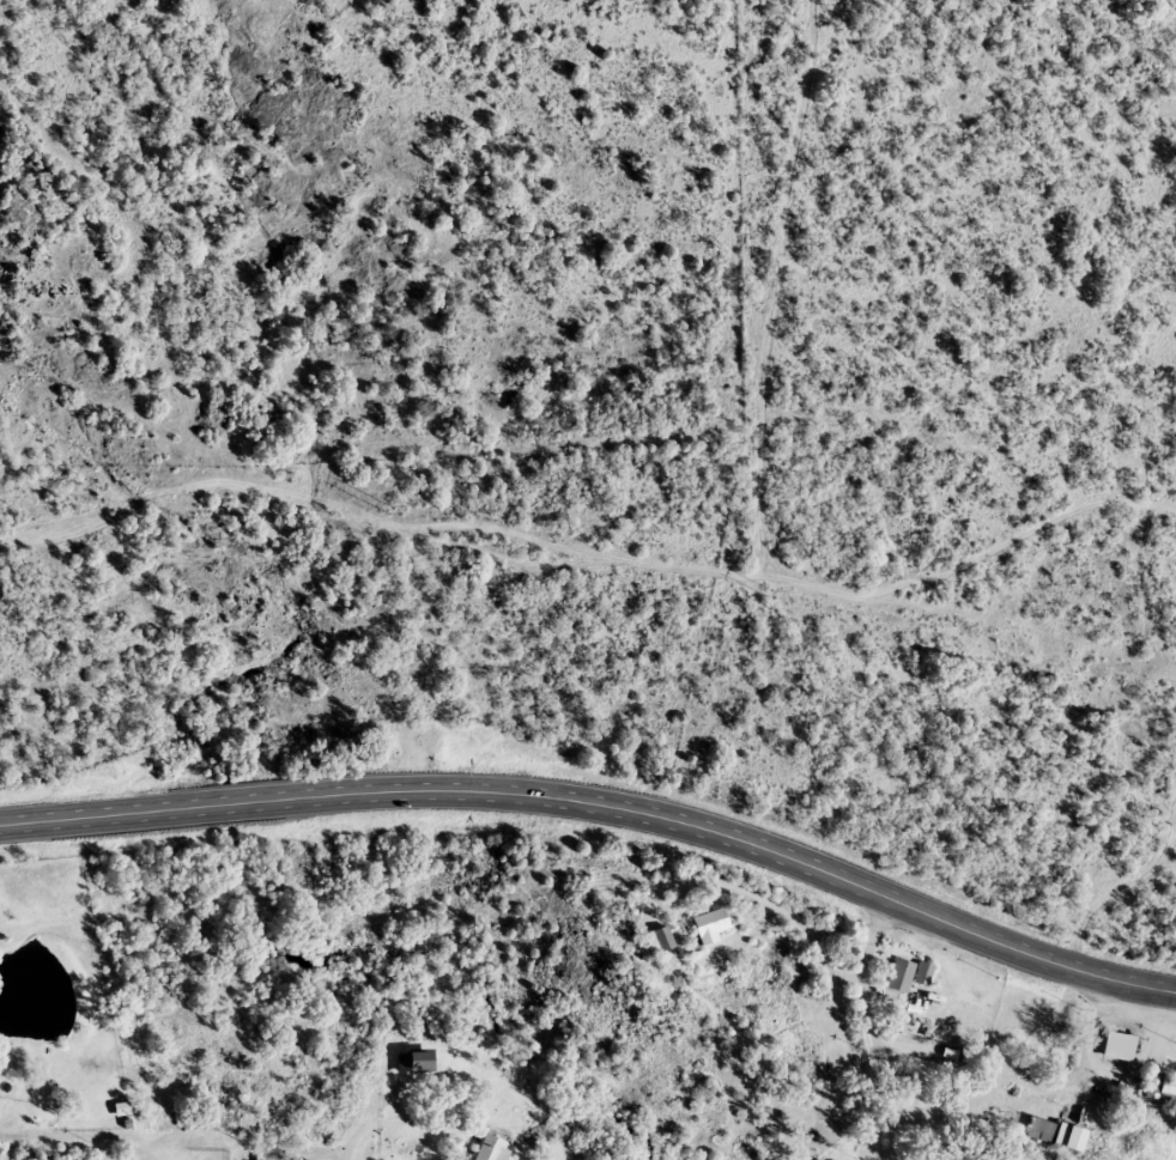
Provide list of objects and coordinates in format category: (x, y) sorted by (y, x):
road: (758, 500)
power tower: (387, 508)
power tower: (768, 591)
road: (602, 803)
road: (1141, 895)
building: (711, 922)
building: (661, 940)
building: (905, 976)
road: (1154, 1024)
road: (871, 1027)
building: (1121, 1046)
road: (830, 1059)
building: (416, 1061)
road: (429, 1068)
building: (922, 1079)
building: (1169, 1089)
road: (92, 1130)
building: (1059, 1134)
road: (357, 1135)
building: (493, 1148)

